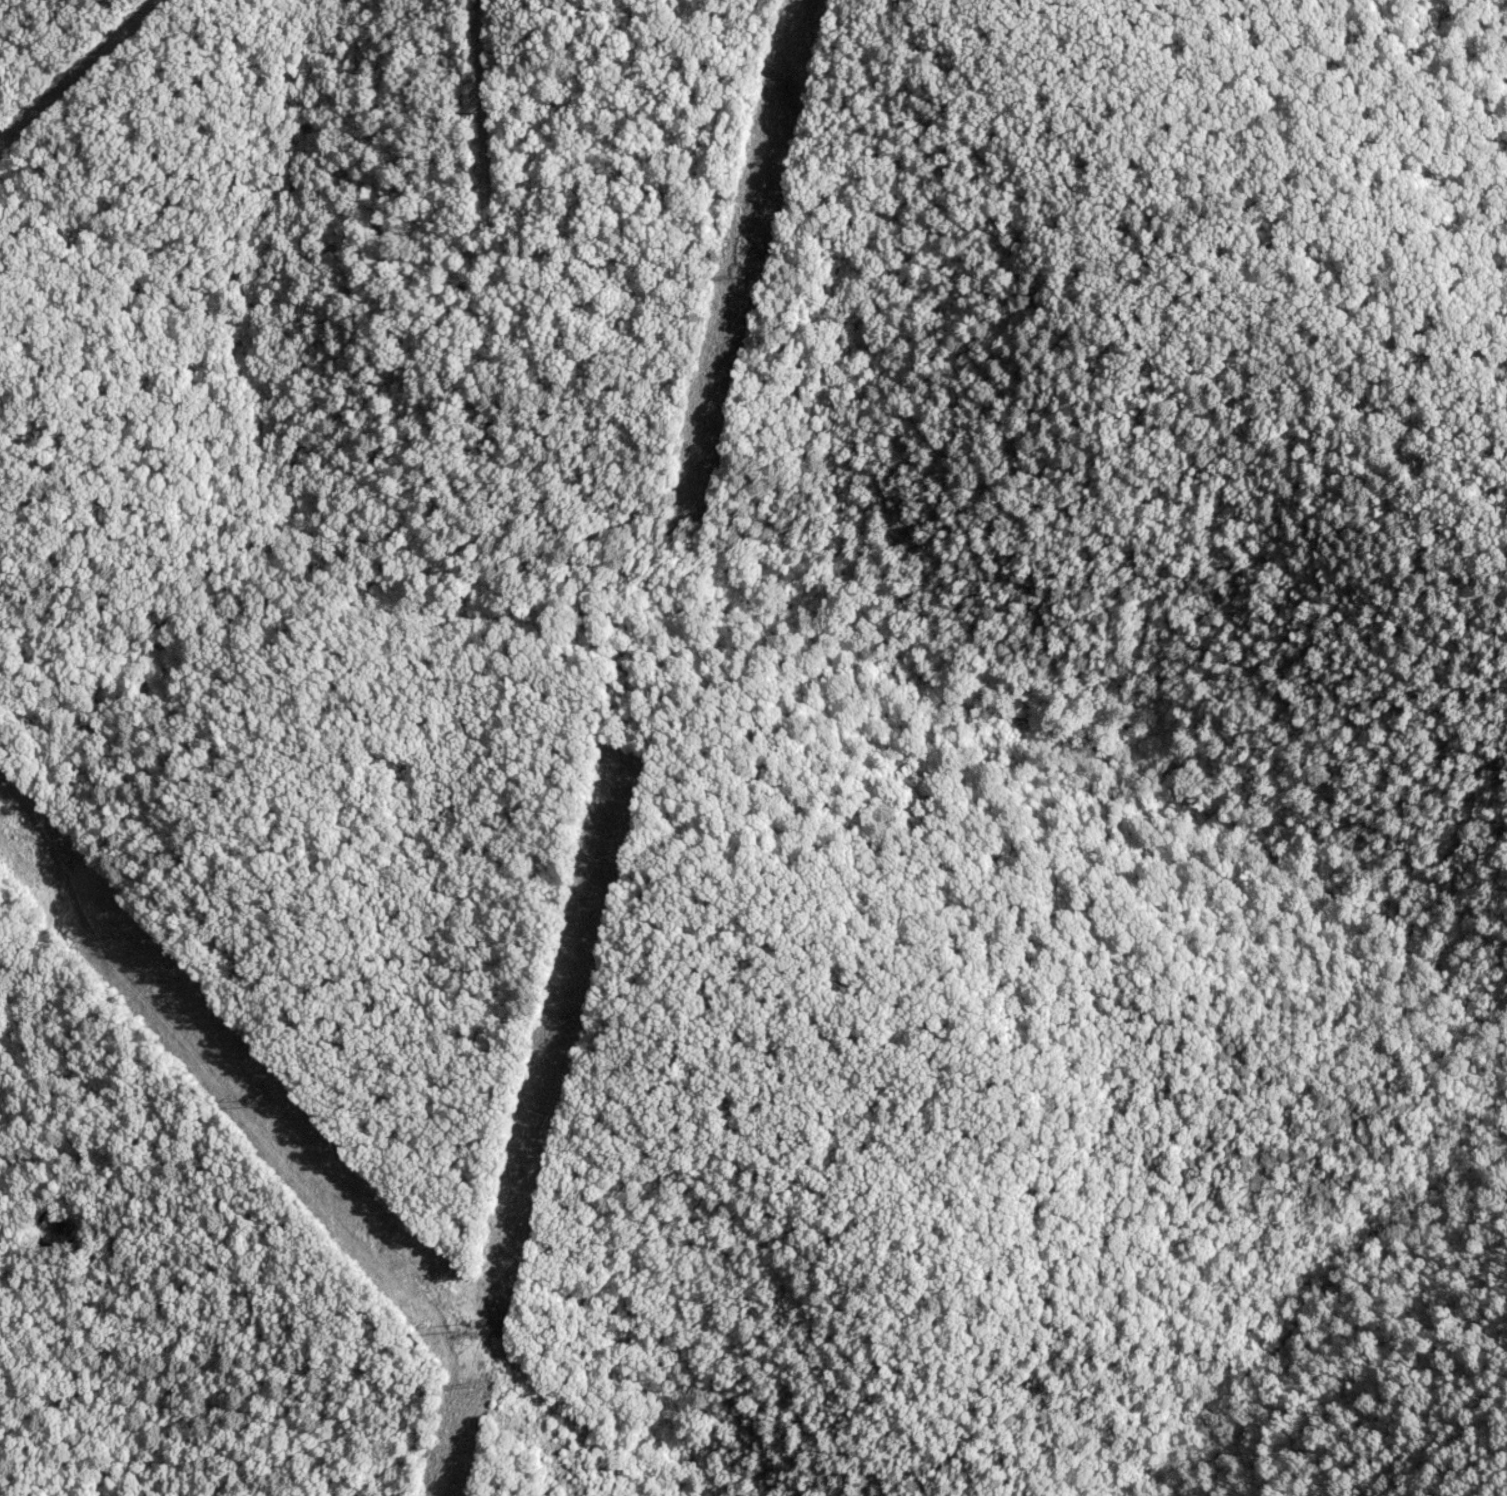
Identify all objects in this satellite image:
power tower: (736, 277)
power tower: (597, 859)
power tower: (258, 1103)
power tower: (537, 1112)
power tower: (457, 1327)
power tower: (465, 1384)

